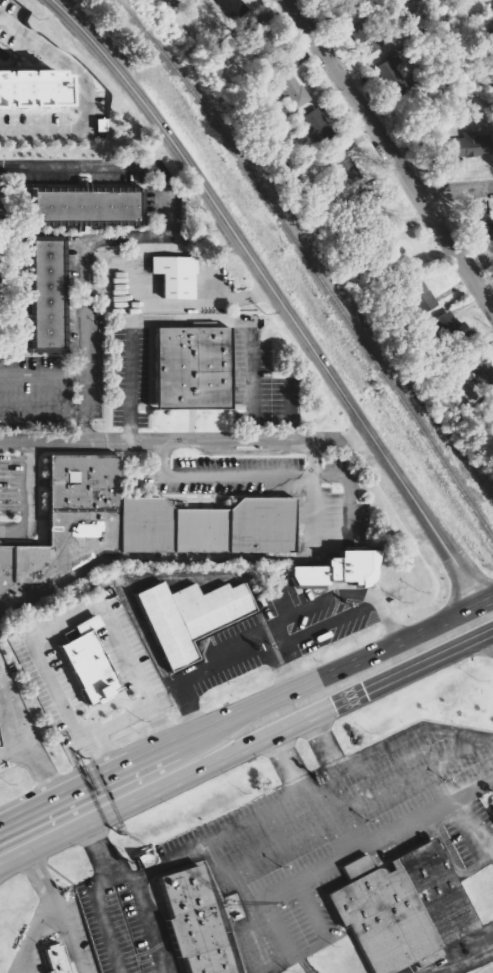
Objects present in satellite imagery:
building: (234, 8)
building: (394, 76)
road: (85, 84)
building: (31, 86)
building: (294, 87)
building: (317, 126)
building: (465, 144)
road: (394, 152)
road: (92, 162)
building: (346, 166)
road: (458, 188)
building: (84, 204)
building: (483, 232)
building: (397, 238)
road: (84, 263)
railway: (309, 264)
building: (176, 276)
road: (275, 293)
building: (45, 294)
building: (424, 295)
building: (452, 326)
building: (479, 366)
building: (193, 368)
building: (492, 412)
road: (185, 440)
road: (237, 476)
road: (31, 500)
building: (137, 523)
building: (341, 569)
building: (185, 616)
building: (84, 667)
road: (133, 677)
road: (246, 710)
road: (410, 731)
road: (245, 747)
road: (33, 763)
building: (492, 810)
road: (8, 818)
parking lot: (333, 836)
road: (366, 837)
road: (352, 845)
road: (183, 851)
road: (318, 862)
road: (2, 867)
road: (38, 875)
building: (402, 908)
road: (103, 919)
building: (193, 920)
road: (152, 923)
parking lot: (114, 927)
road: (69, 933)
road: (30, 934)
parking lot: (79, 937)
building: (58, 958)
parking lot: (26, 962)
road: (461, 962)

